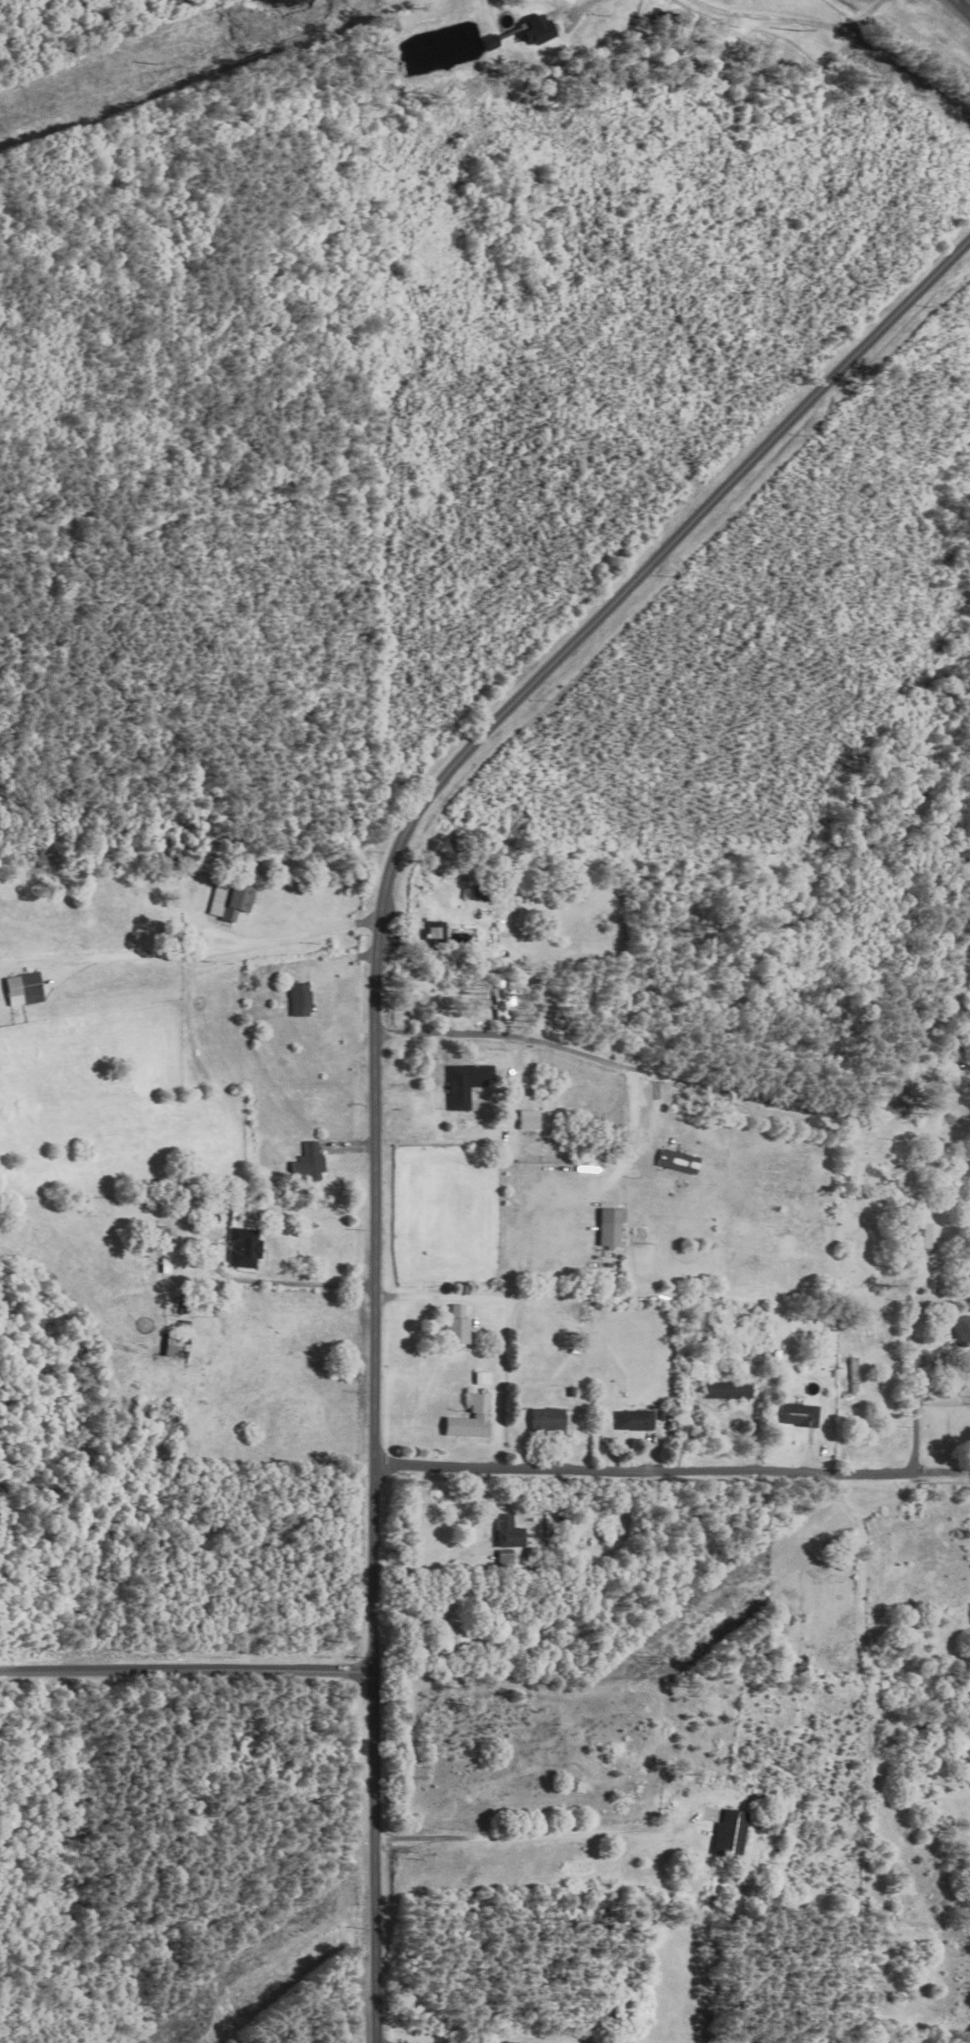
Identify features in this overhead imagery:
road: (957, 2)
road: (589, 3)
road: (960, 8)
road: (792, 21)
building: (539, 31)
road: (783, 688)
building: (231, 899)
building: (434, 934)
road: (218, 946)
building: (23, 989)
building: (301, 999)
road: (380, 1026)
building: (464, 1084)
road: (659, 1094)
building: (677, 1161)
building: (309, 1164)
building: (608, 1226)
building: (160, 1235)
building: (922, 1236)
building: (242, 1247)
road: (284, 1279)
road: (507, 1325)
building: (458, 1326)
building: (963, 1329)
building: (173, 1346)
building: (485, 1378)
building: (728, 1390)
building: (801, 1415)
building: (549, 1419)
building: (472, 1420)
building: (637, 1420)
road: (743, 1471)
building: (509, 1532)
building: (454, 1636)
road: (868, 1649)
road: (190, 1669)
building: (731, 1833)
road: (518, 1845)
road: (611, 2042)

